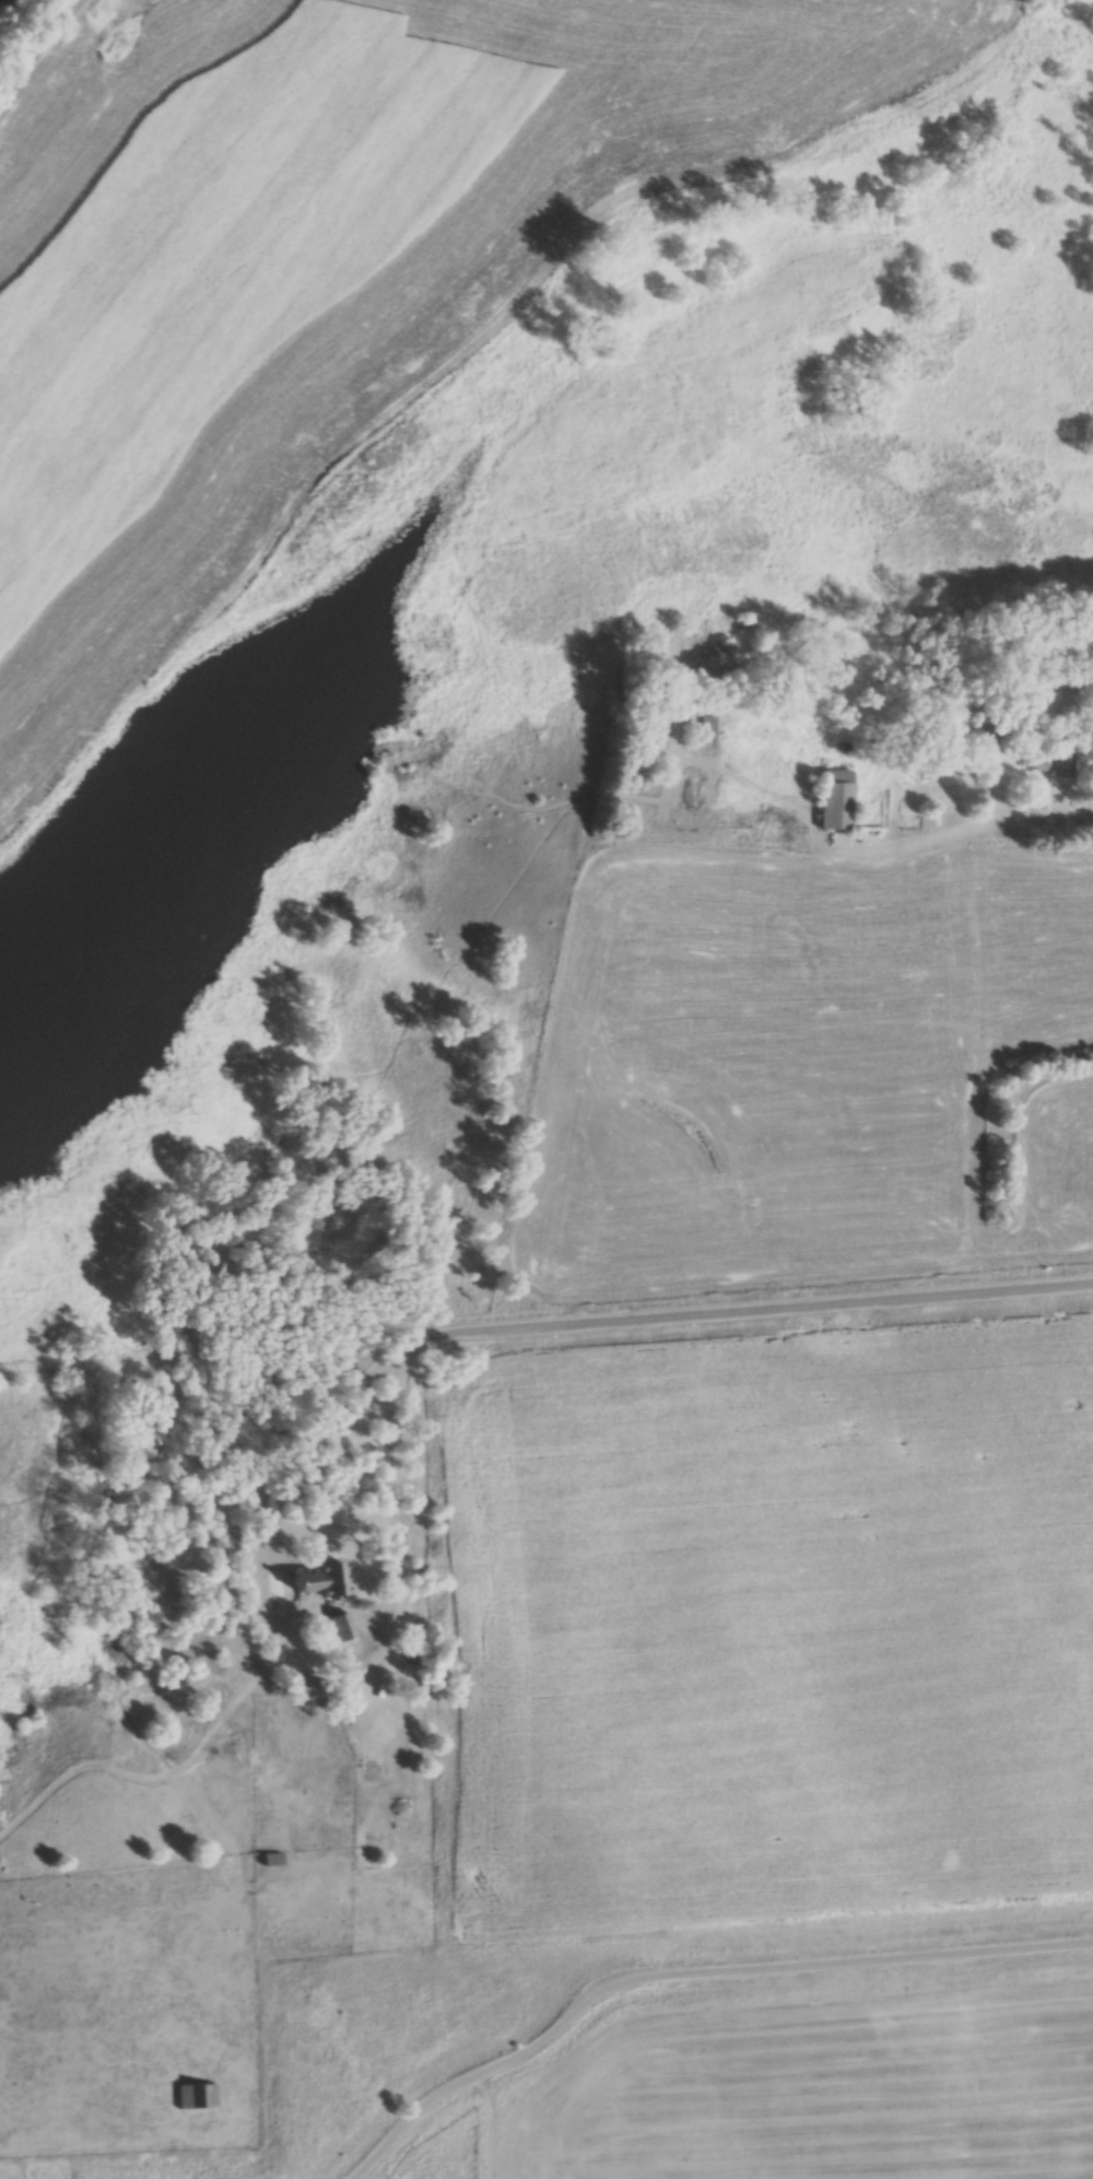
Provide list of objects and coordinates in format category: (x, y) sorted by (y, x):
building: (705, 731)
building: (989, 737)
building: (1062, 765)
building: (835, 800)
road: (1037, 823)
road: (763, 1311)
road: (391, 1483)
building: (330, 1580)
building: (299, 1583)
building: (340, 1626)
building: (302, 1688)
building: (270, 1860)
road: (685, 1977)
building: (202, 2097)

